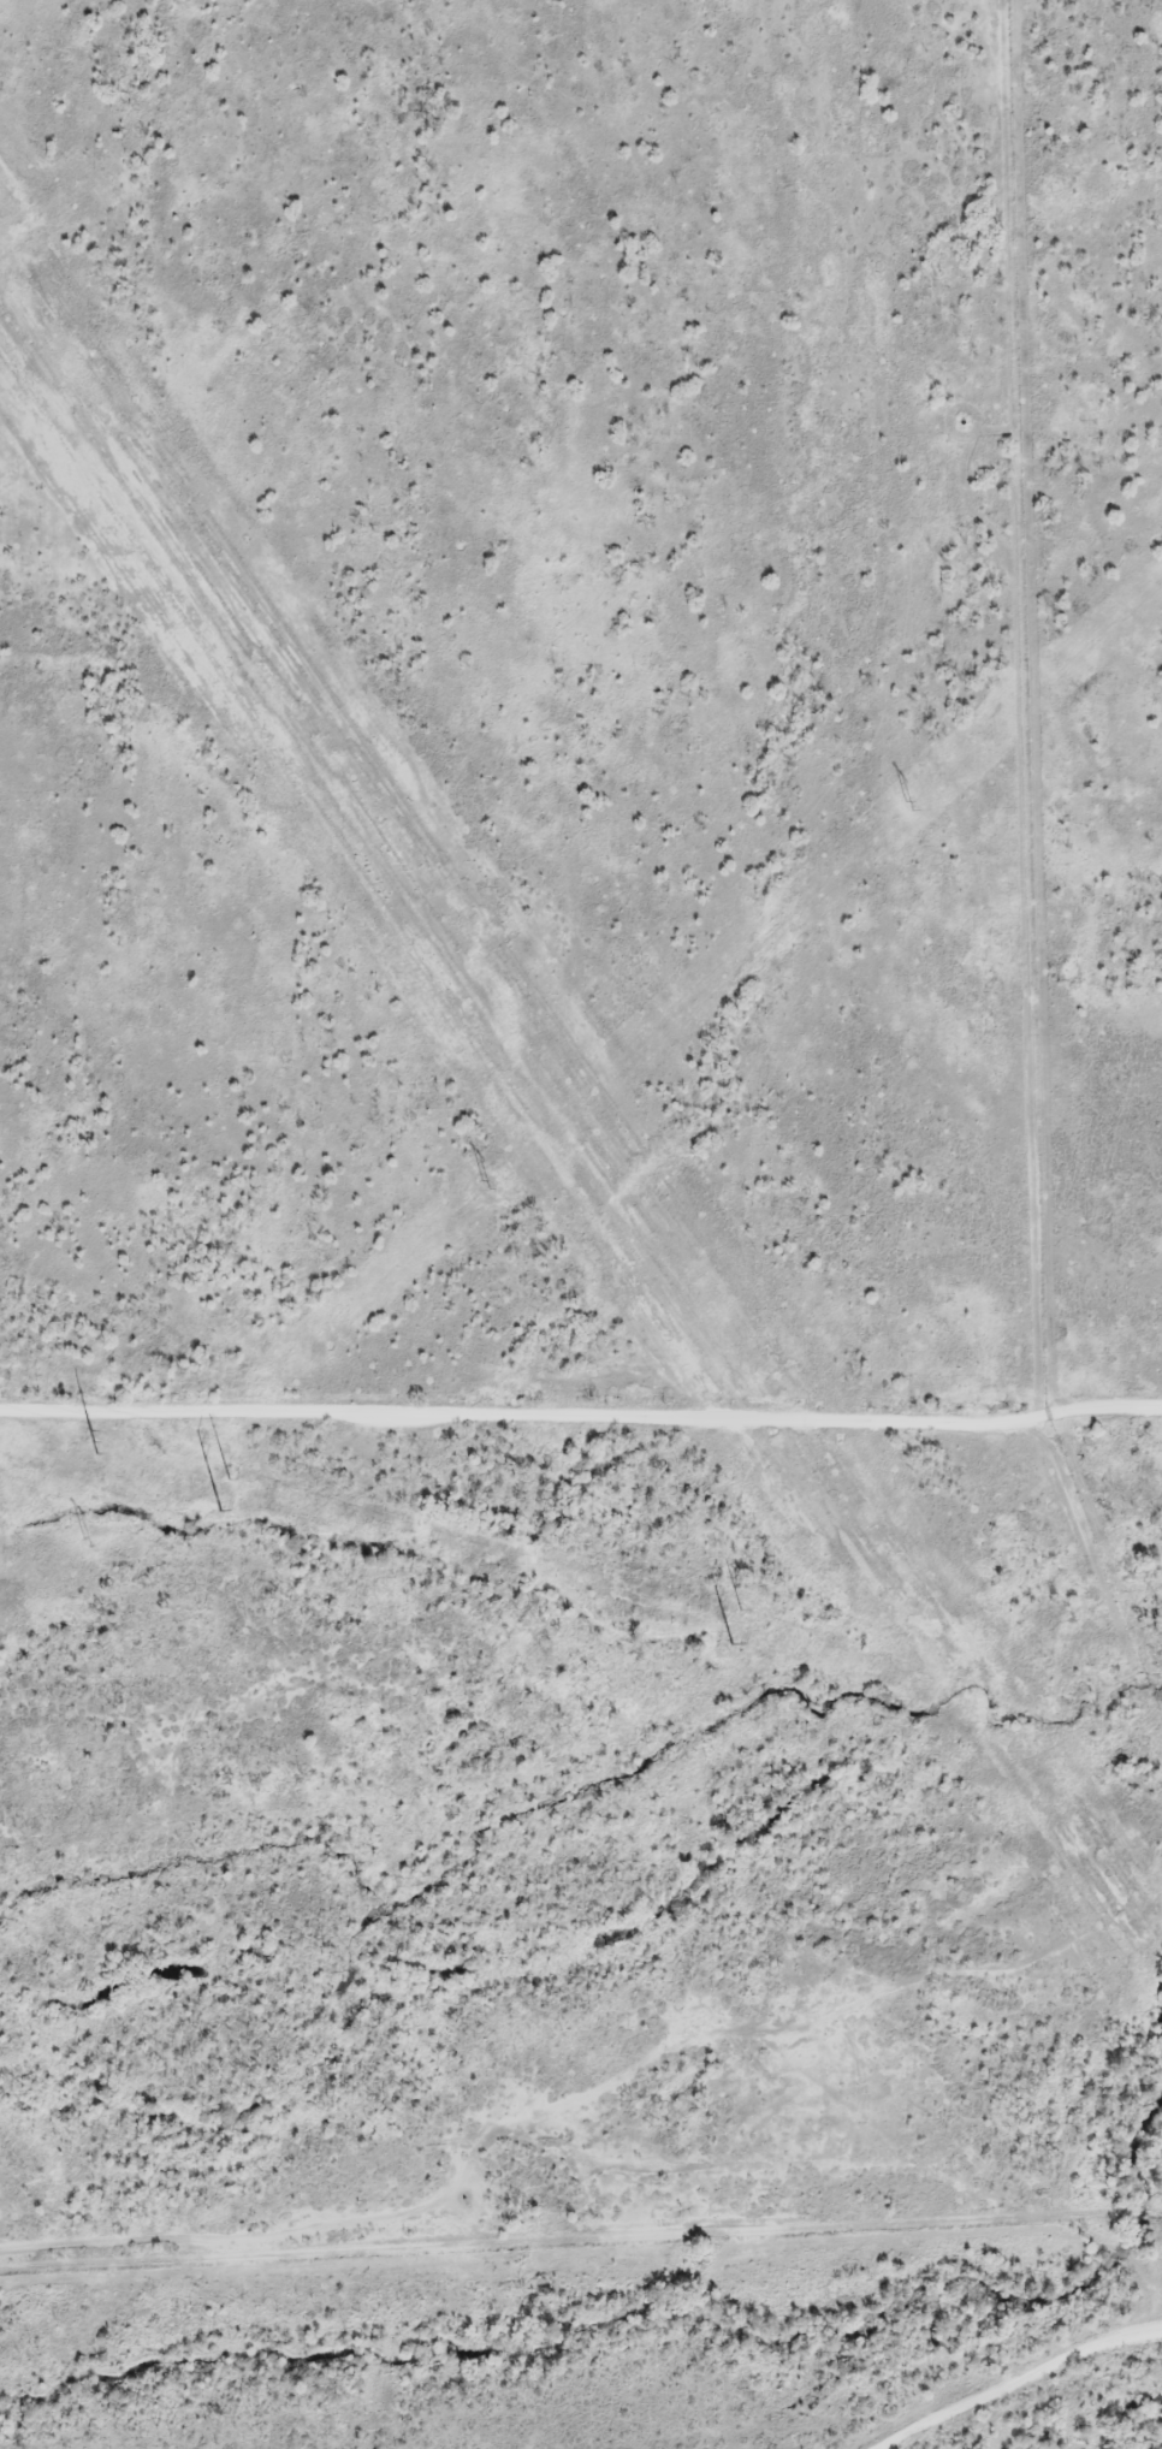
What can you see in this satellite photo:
power tower: (912, 805)
power tower: (487, 1184)
road: (581, 1416)
power tower: (97, 1448)
power tower: (231, 1480)
power tower: (223, 1511)
power tower: (87, 1543)
power tower: (742, 1613)
power tower: (731, 1647)
road: (1018, 2386)

